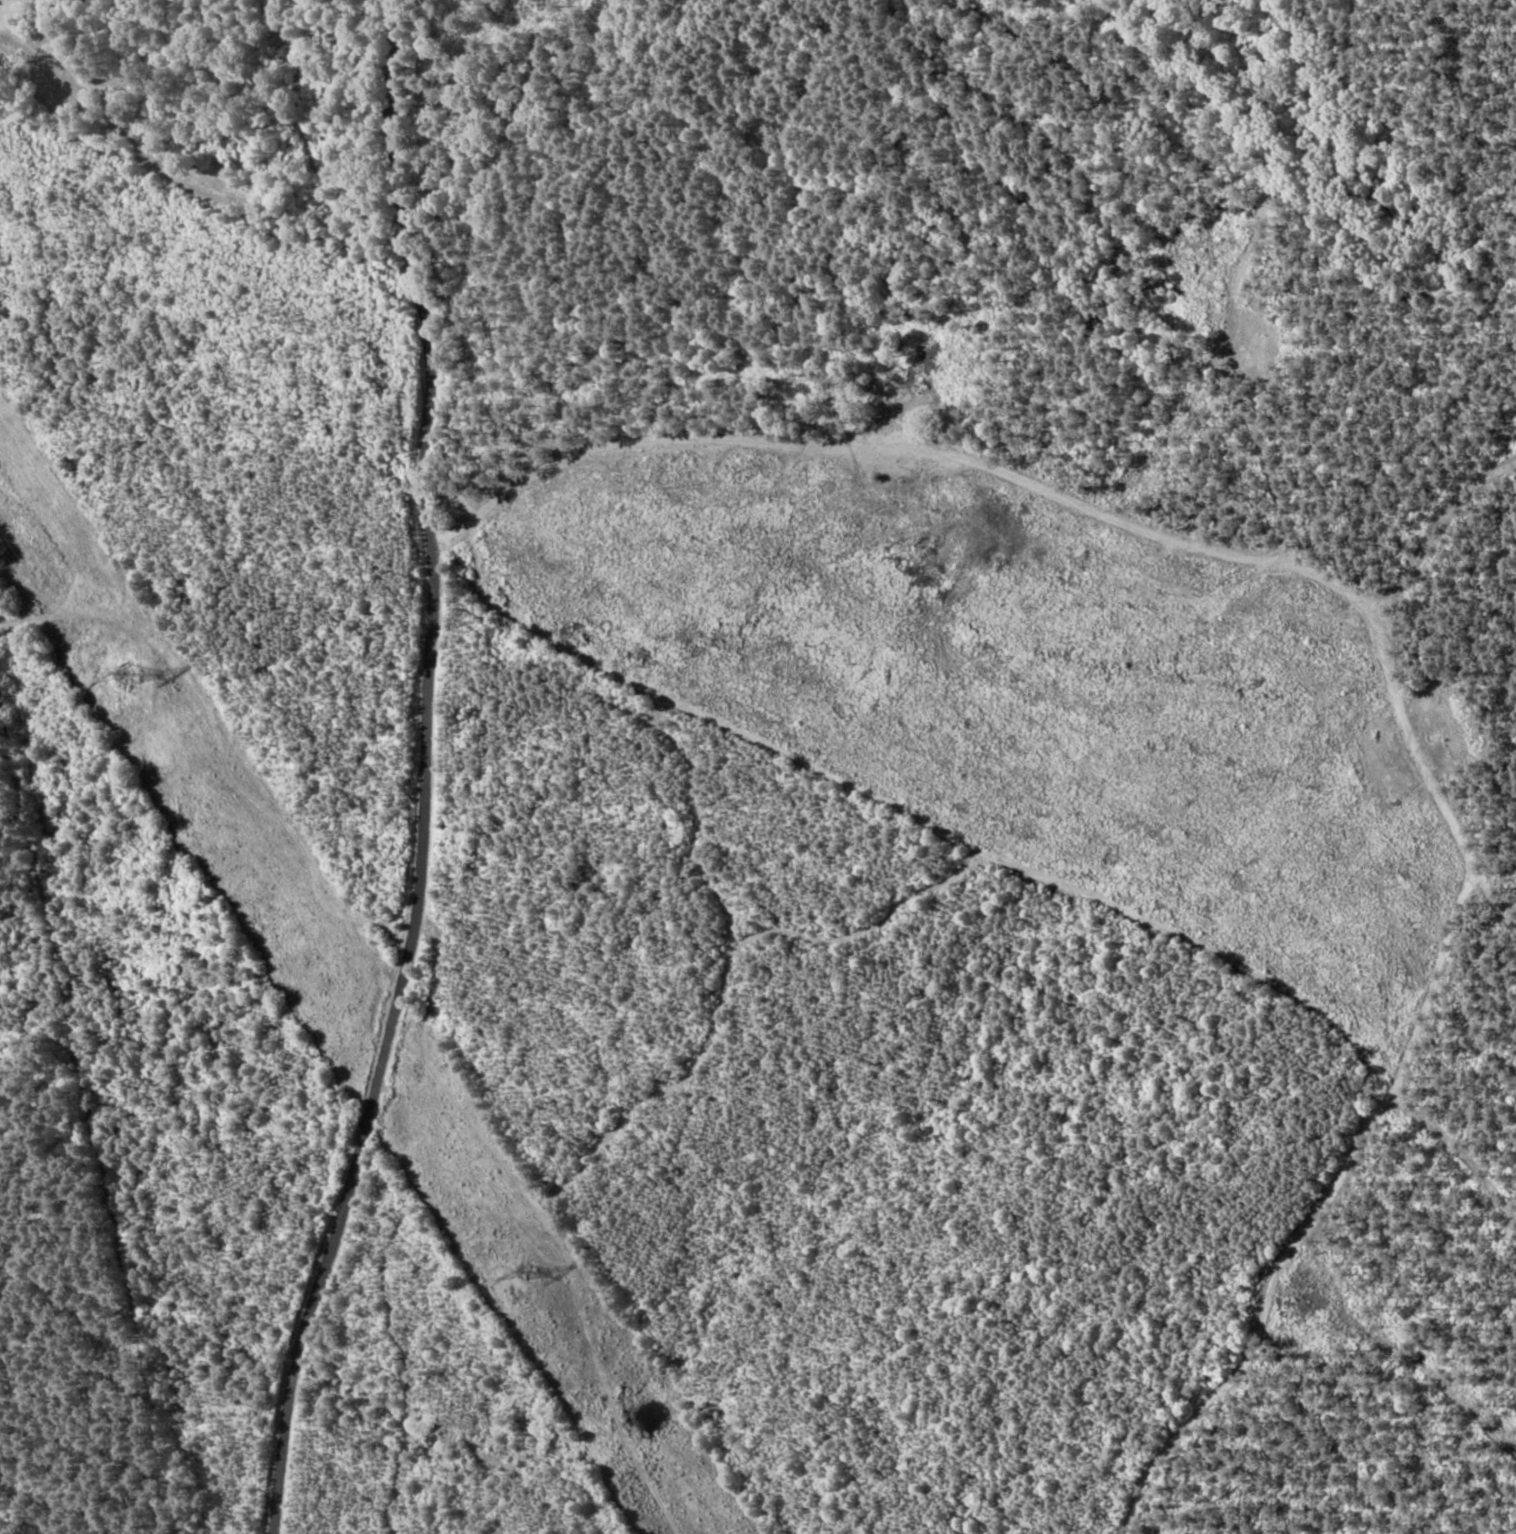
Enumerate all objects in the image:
power tower: (132, 678)
road: (392, 774)
power tower: (527, 1275)

